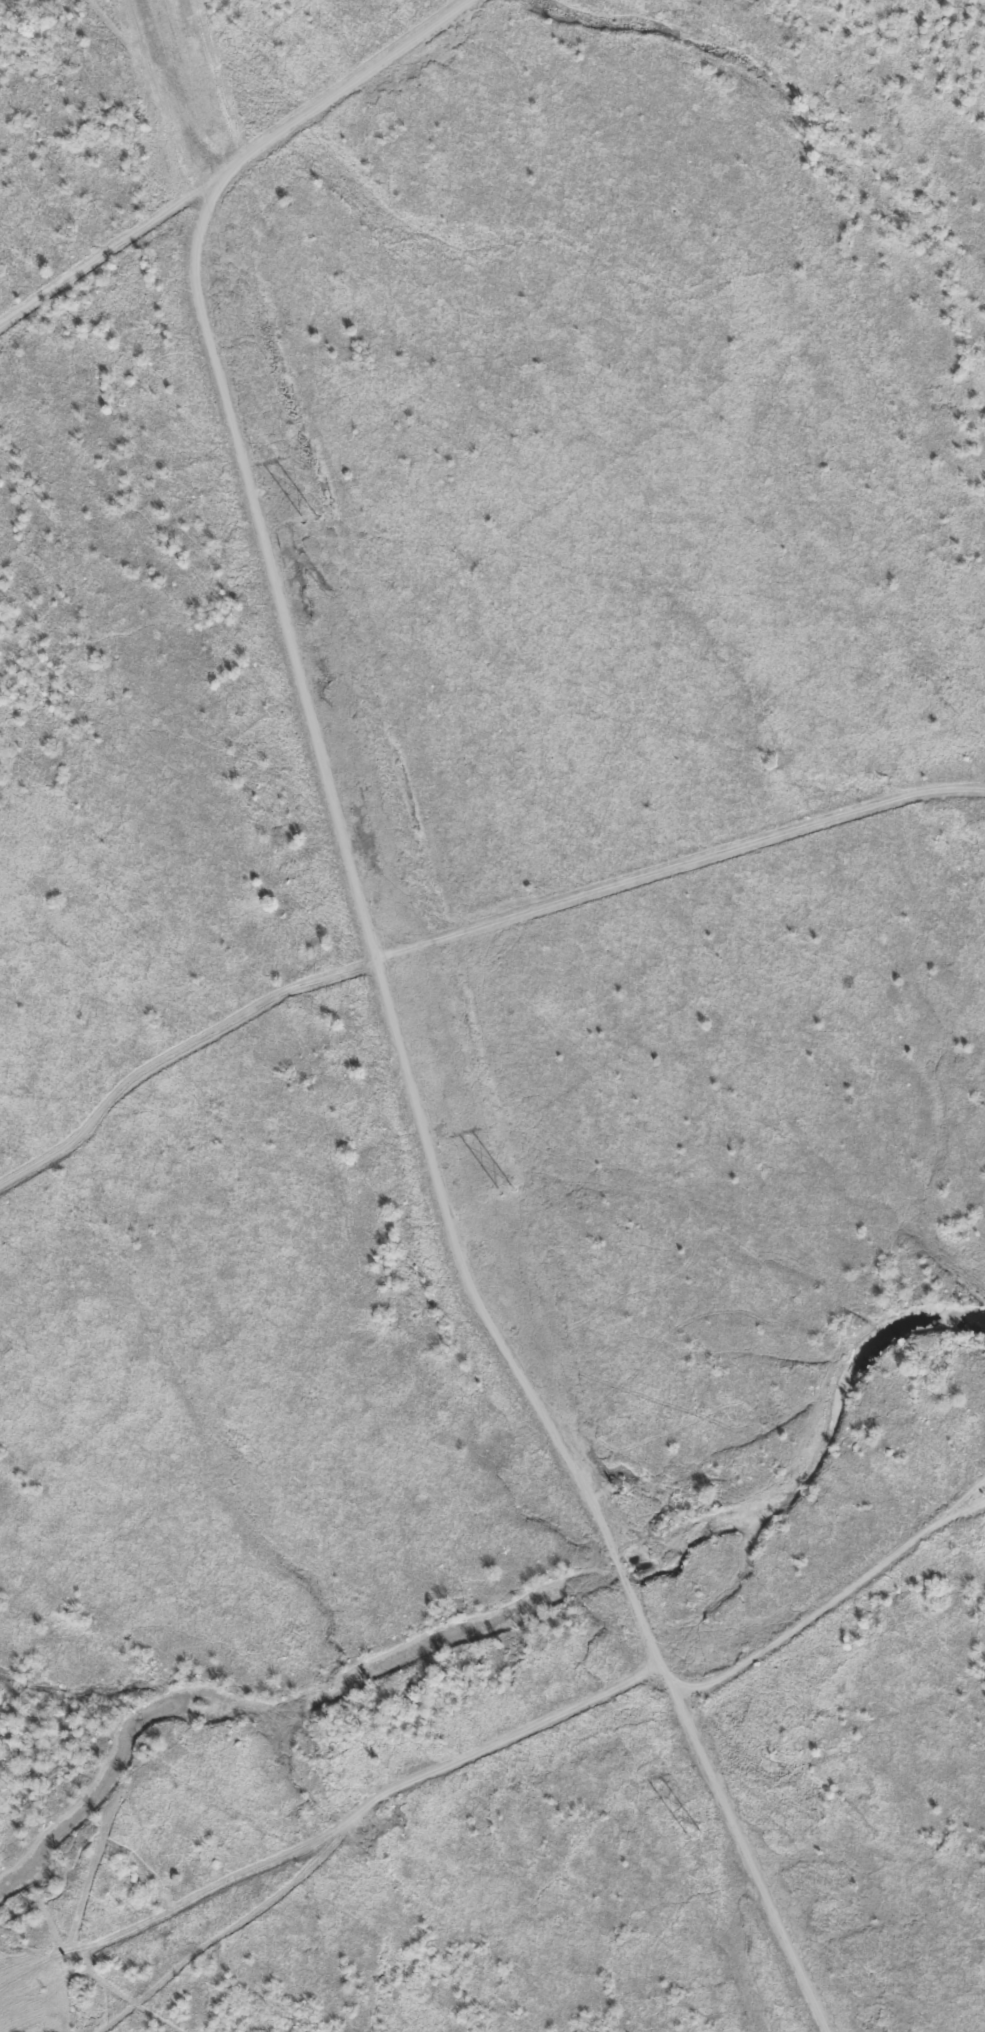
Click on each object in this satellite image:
road: (237, 172)
power tower: (312, 518)
power tower: (507, 1191)
power tower: (697, 1835)

